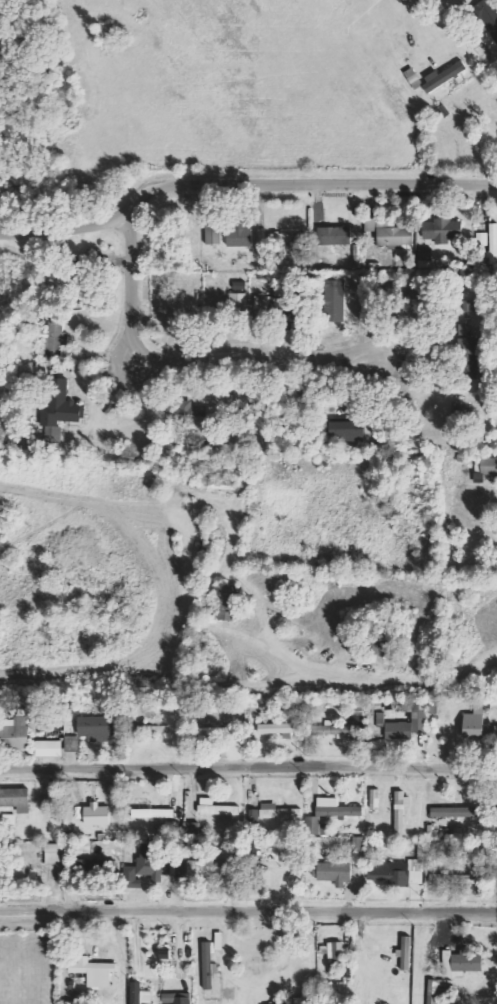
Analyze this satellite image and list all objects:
building: (488, 16)
building: (442, 76)
road: (241, 182)
building: (439, 230)
building: (261, 235)
building: (333, 235)
building: (387, 235)
building: (285, 237)
building: (481, 238)
building: (492, 243)
building: (75, 288)
building: (333, 301)
building: (236, 302)
building: (468, 305)
building: (284, 317)
building: (52, 340)
building: (466, 353)
road: (193, 361)
building: (33, 370)
building: (60, 405)
building: (187, 409)
building: (344, 433)
building: (485, 466)
building: (227, 602)
building: (379, 719)
building: (409, 722)
building: (471, 725)
building: (157, 729)
building: (276, 729)
building: (329, 729)
building: (495, 730)
building: (13, 732)
building: (71, 743)
building: (47, 748)
road: (248, 775)
building: (373, 798)
building: (15, 799)
building: (216, 808)
building: (150, 811)
building: (330, 811)
building: (399, 811)
building: (453, 811)
building: (273, 812)
building: (95, 814)
building: (8, 819)
building: (52, 853)
building: (145, 865)
building: (206, 867)
building: (399, 870)
building: (333, 873)
building: (452, 878)
road: (248, 916)
building: (334, 952)
building: (404, 952)
building: (461, 961)
building: (206, 965)
building: (95, 973)
building: (436, 989)
building: (226, 993)
building: (138, 994)
building: (175, 998)

